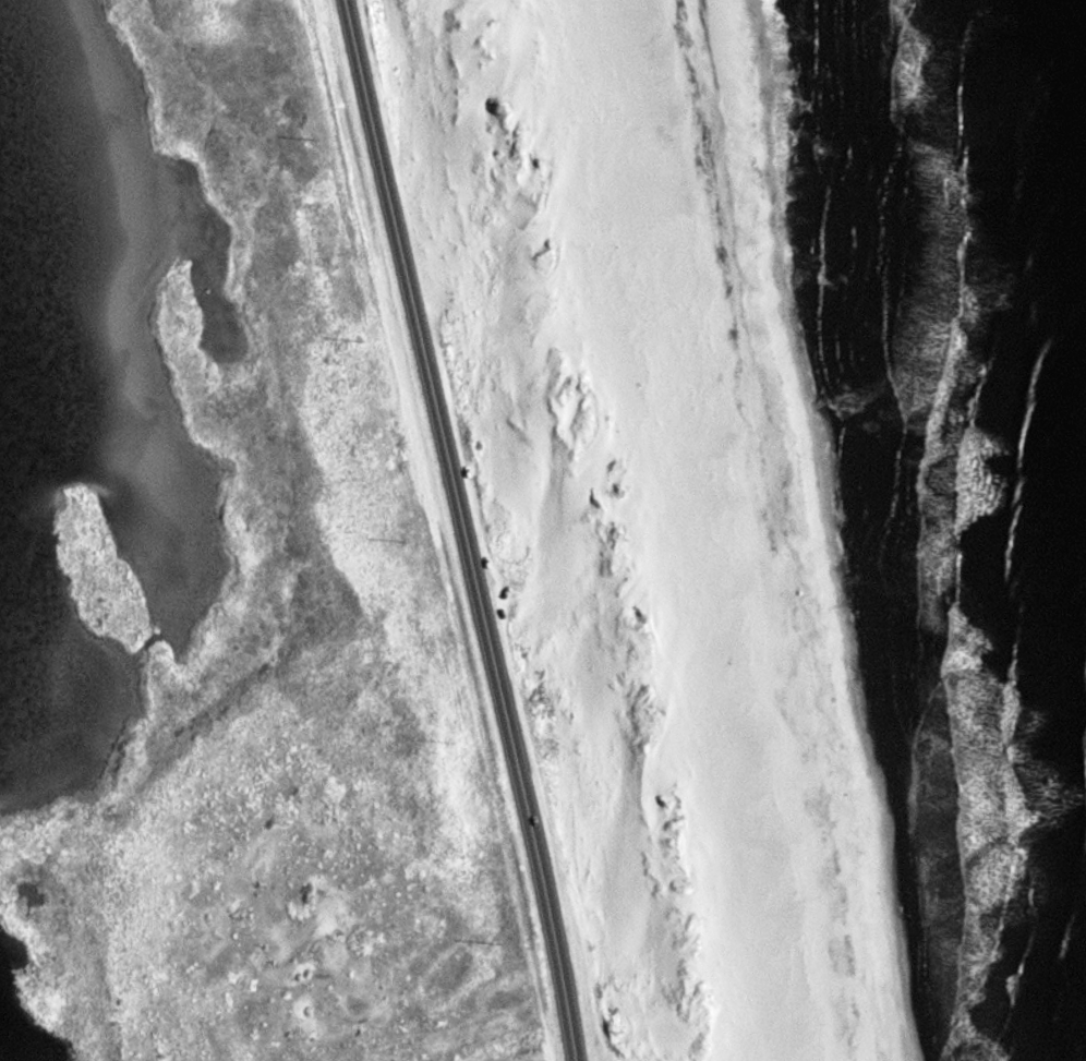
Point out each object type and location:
power tower: (314, 138)
power tower: (360, 341)
road: (702, 510)
road: (463, 529)
power tower: (405, 536)
power tower: (451, 743)
power tower: (494, 940)
road: (761, 1044)
road: (806, 1044)

